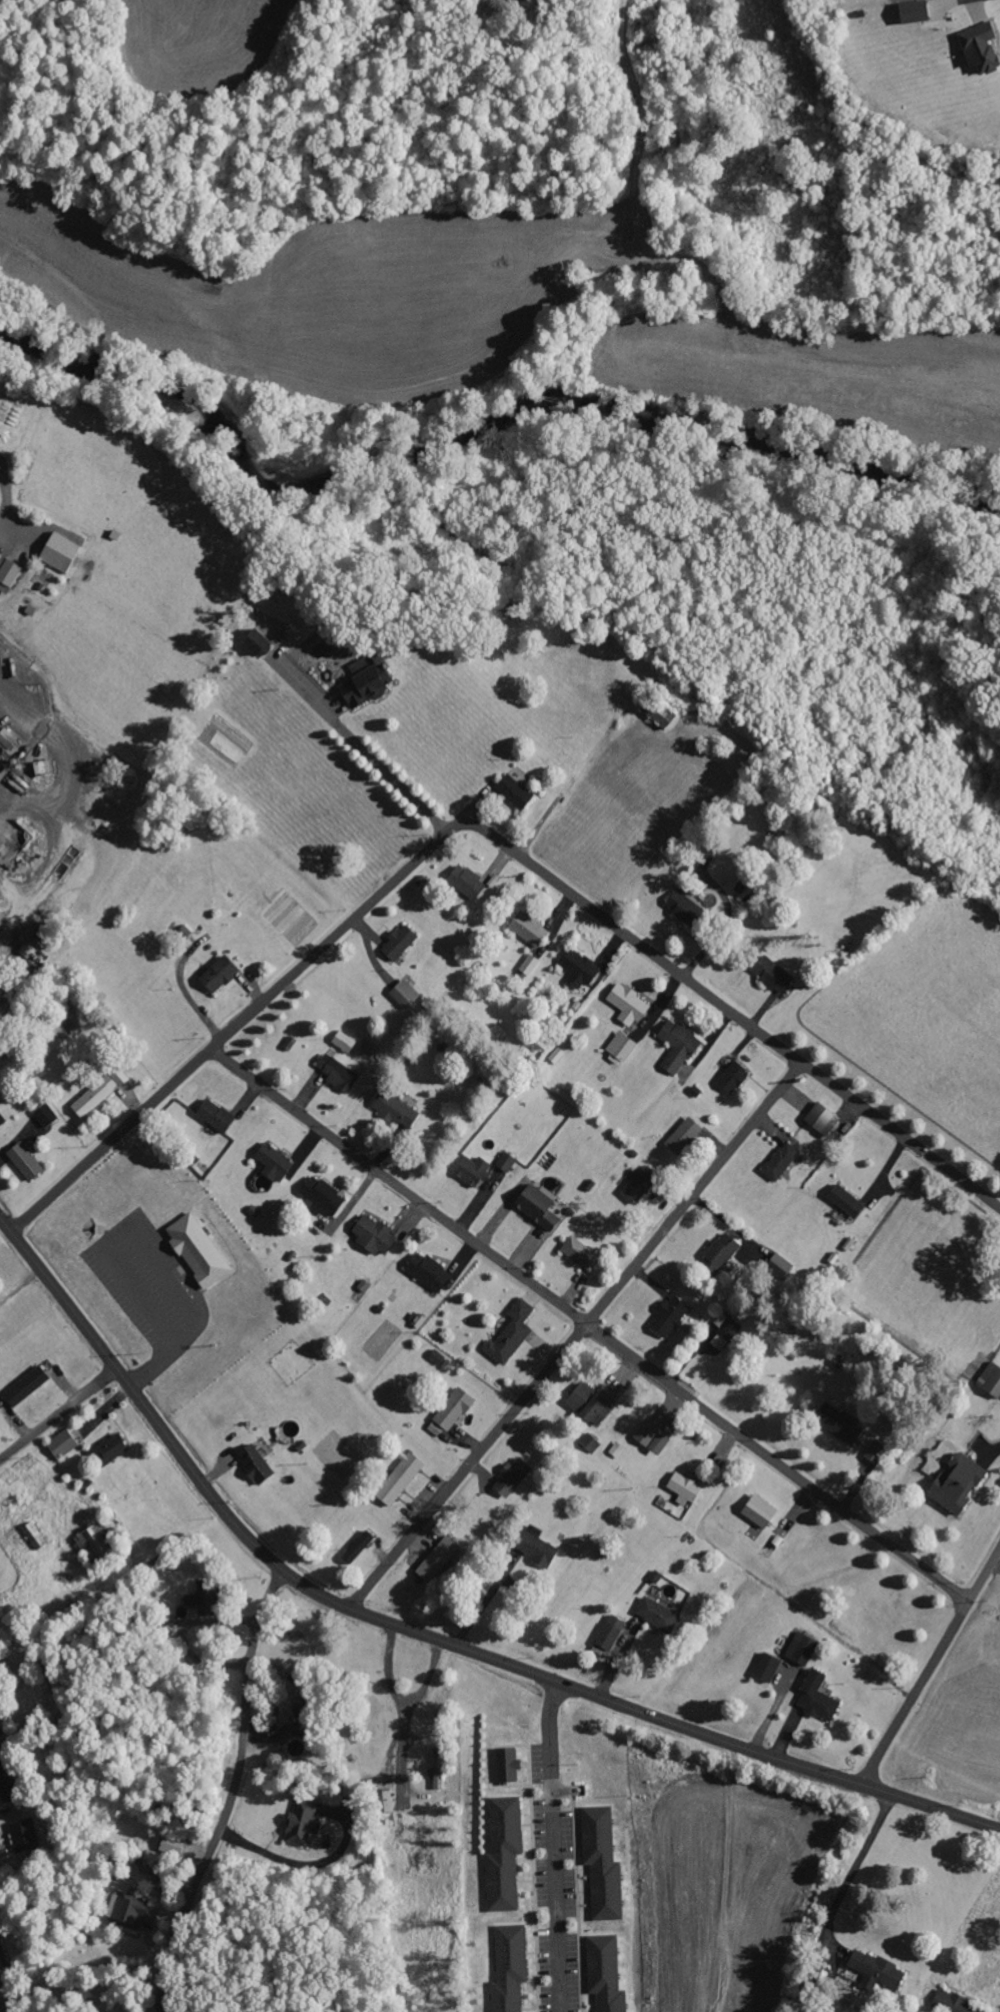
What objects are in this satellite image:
building: (912, 12)
building: (978, 47)
road: (5, 495)
building: (58, 552)
building: (8, 574)
building: (255, 642)
building: (364, 682)
building: (657, 712)
building: (513, 791)
building: (465, 881)
building: (683, 907)
building: (528, 928)
building: (397, 942)
building: (529, 965)
building: (577, 968)
building: (217, 974)
building: (771, 974)
building: (404, 993)
building: (626, 1004)
road: (725, 1008)
road: (229, 1031)
building: (342, 1041)
building: (676, 1045)
building: (620, 1046)
building: (338, 1073)
building: (731, 1078)
building: (98, 1092)
building: (394, 1109)
building: (44, 1114)
building: (214, 1115)
building: (821, 1119)
building: (1, 1120)
building: (682, 1136)
building: (23, 1160)
building: (779, 1161)
building: (272, 1162)
building: (505, 1162)
building: (472, 1171)
building: (637, 1184)
building: (321, 1194)
building: (845, 1200)
building: (537, 1205)
building: (373, 1235)
building: (196, 1250)
building: (579, 1253)
building: (718, 1253)
building: (426, 1271)
building: (668, 1317)
road: (590, 1322)
building: (510, 1333)
building: (725, 1334)
road: (574, 1336)
building: (990, 1380)
building: (25, 1386)
building: (591, 1402)
building: (449, 1413)
road: (58, 1414)
building: (837, 1424)
building: (649, 1438)
building: (589, 1443)
building: (60, 1444)
building: (108, 1450)
building: (875, 1452)
building: (254, 1463)
building: (511, 1477)
building: (398, 1479)
building: (956, 1483)
building: (683, 1488)
building: (758, 1511)
building: (357, 1547)
building: (536, 1549)
building: (437, 1559)
building: (202, 1599)
building: (656, 1615)
building: (609, 1633)
road: (423, 1635)
building: (801, 1649)
road: (929, 1665)
building: (766, 1668)
building: (816, 1697)
building: (506, 1766)
building: (5, 1780)
road: (232, 1793)
building: (384, 1802)
building: (300, 1822)
building: (22, 1835)
building: (170, 1845)
road: (554, 1846)
building: (503, 1854)
building: (601, 1863)
road: (721, 1878)
building: (125, 1912)
building: (508, 1968)
building: (875, 1969)
building: (604, 1973)
road: (994, 1977)
road: (8, 1979)
building: (955, 2004)

